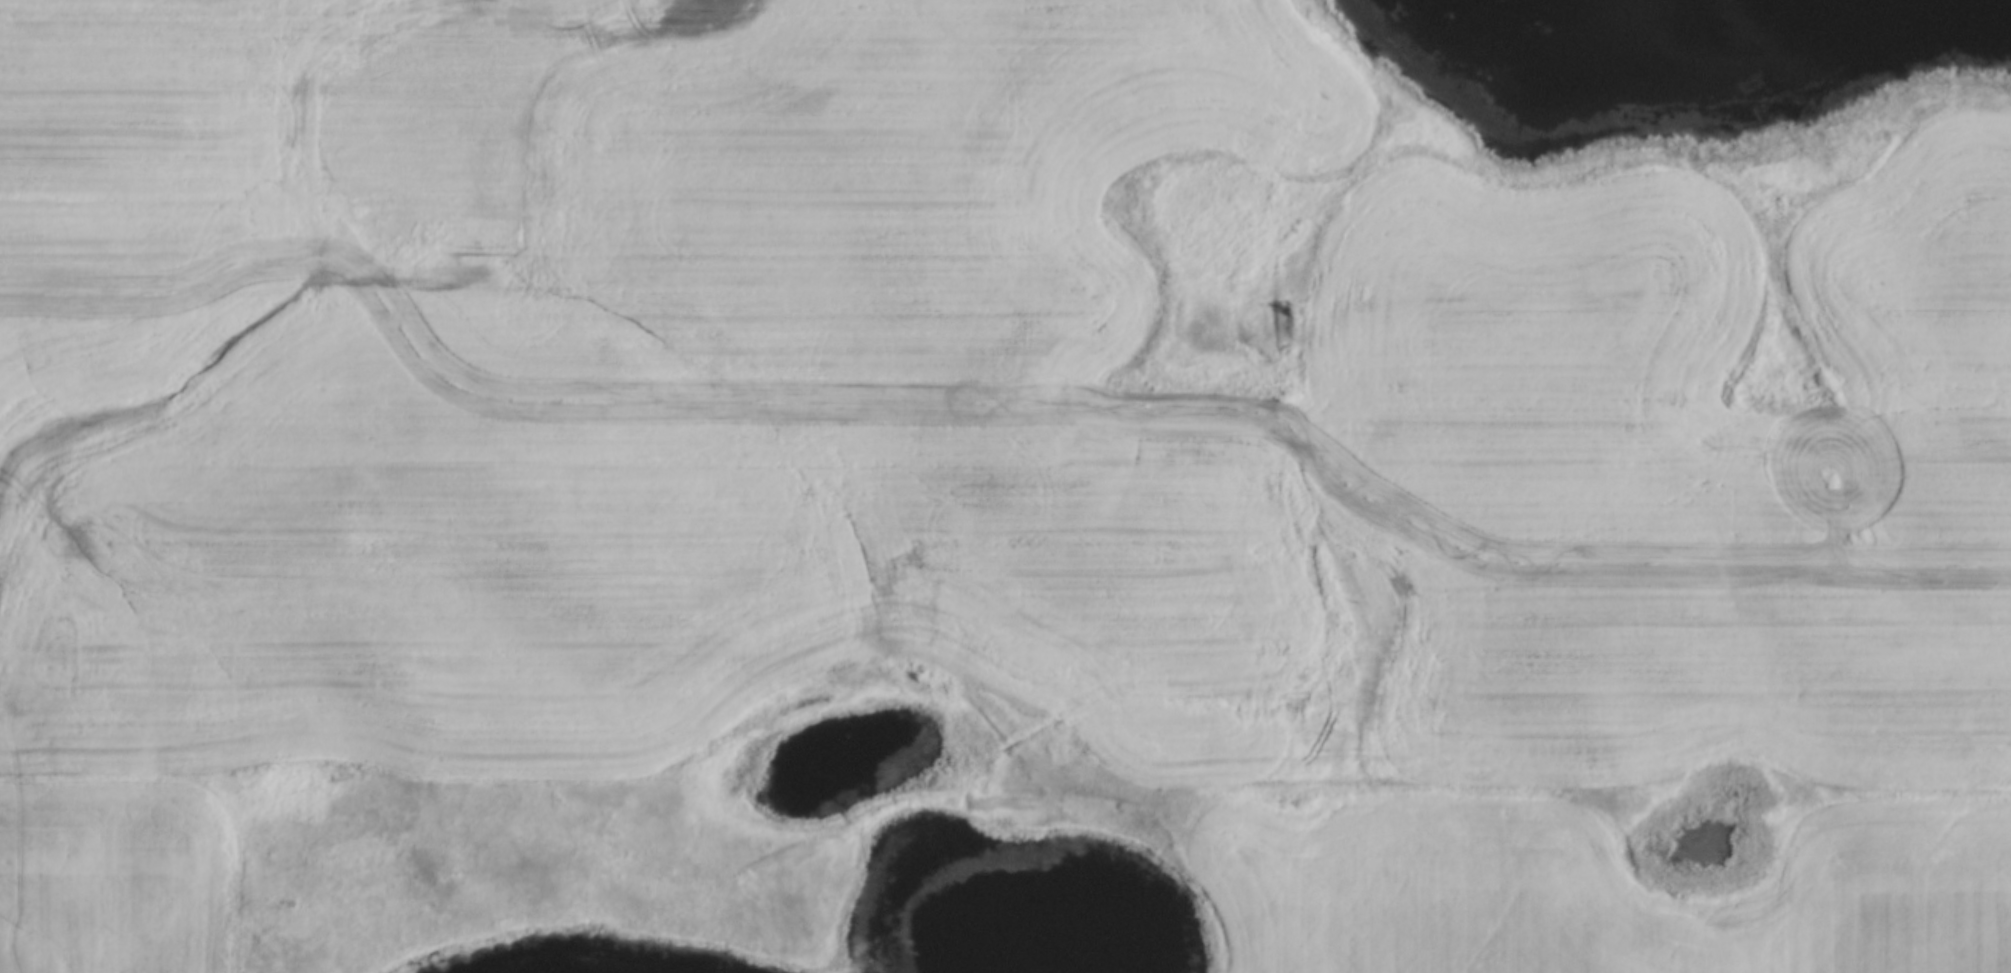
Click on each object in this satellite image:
wind turbine: (1831, 473)

